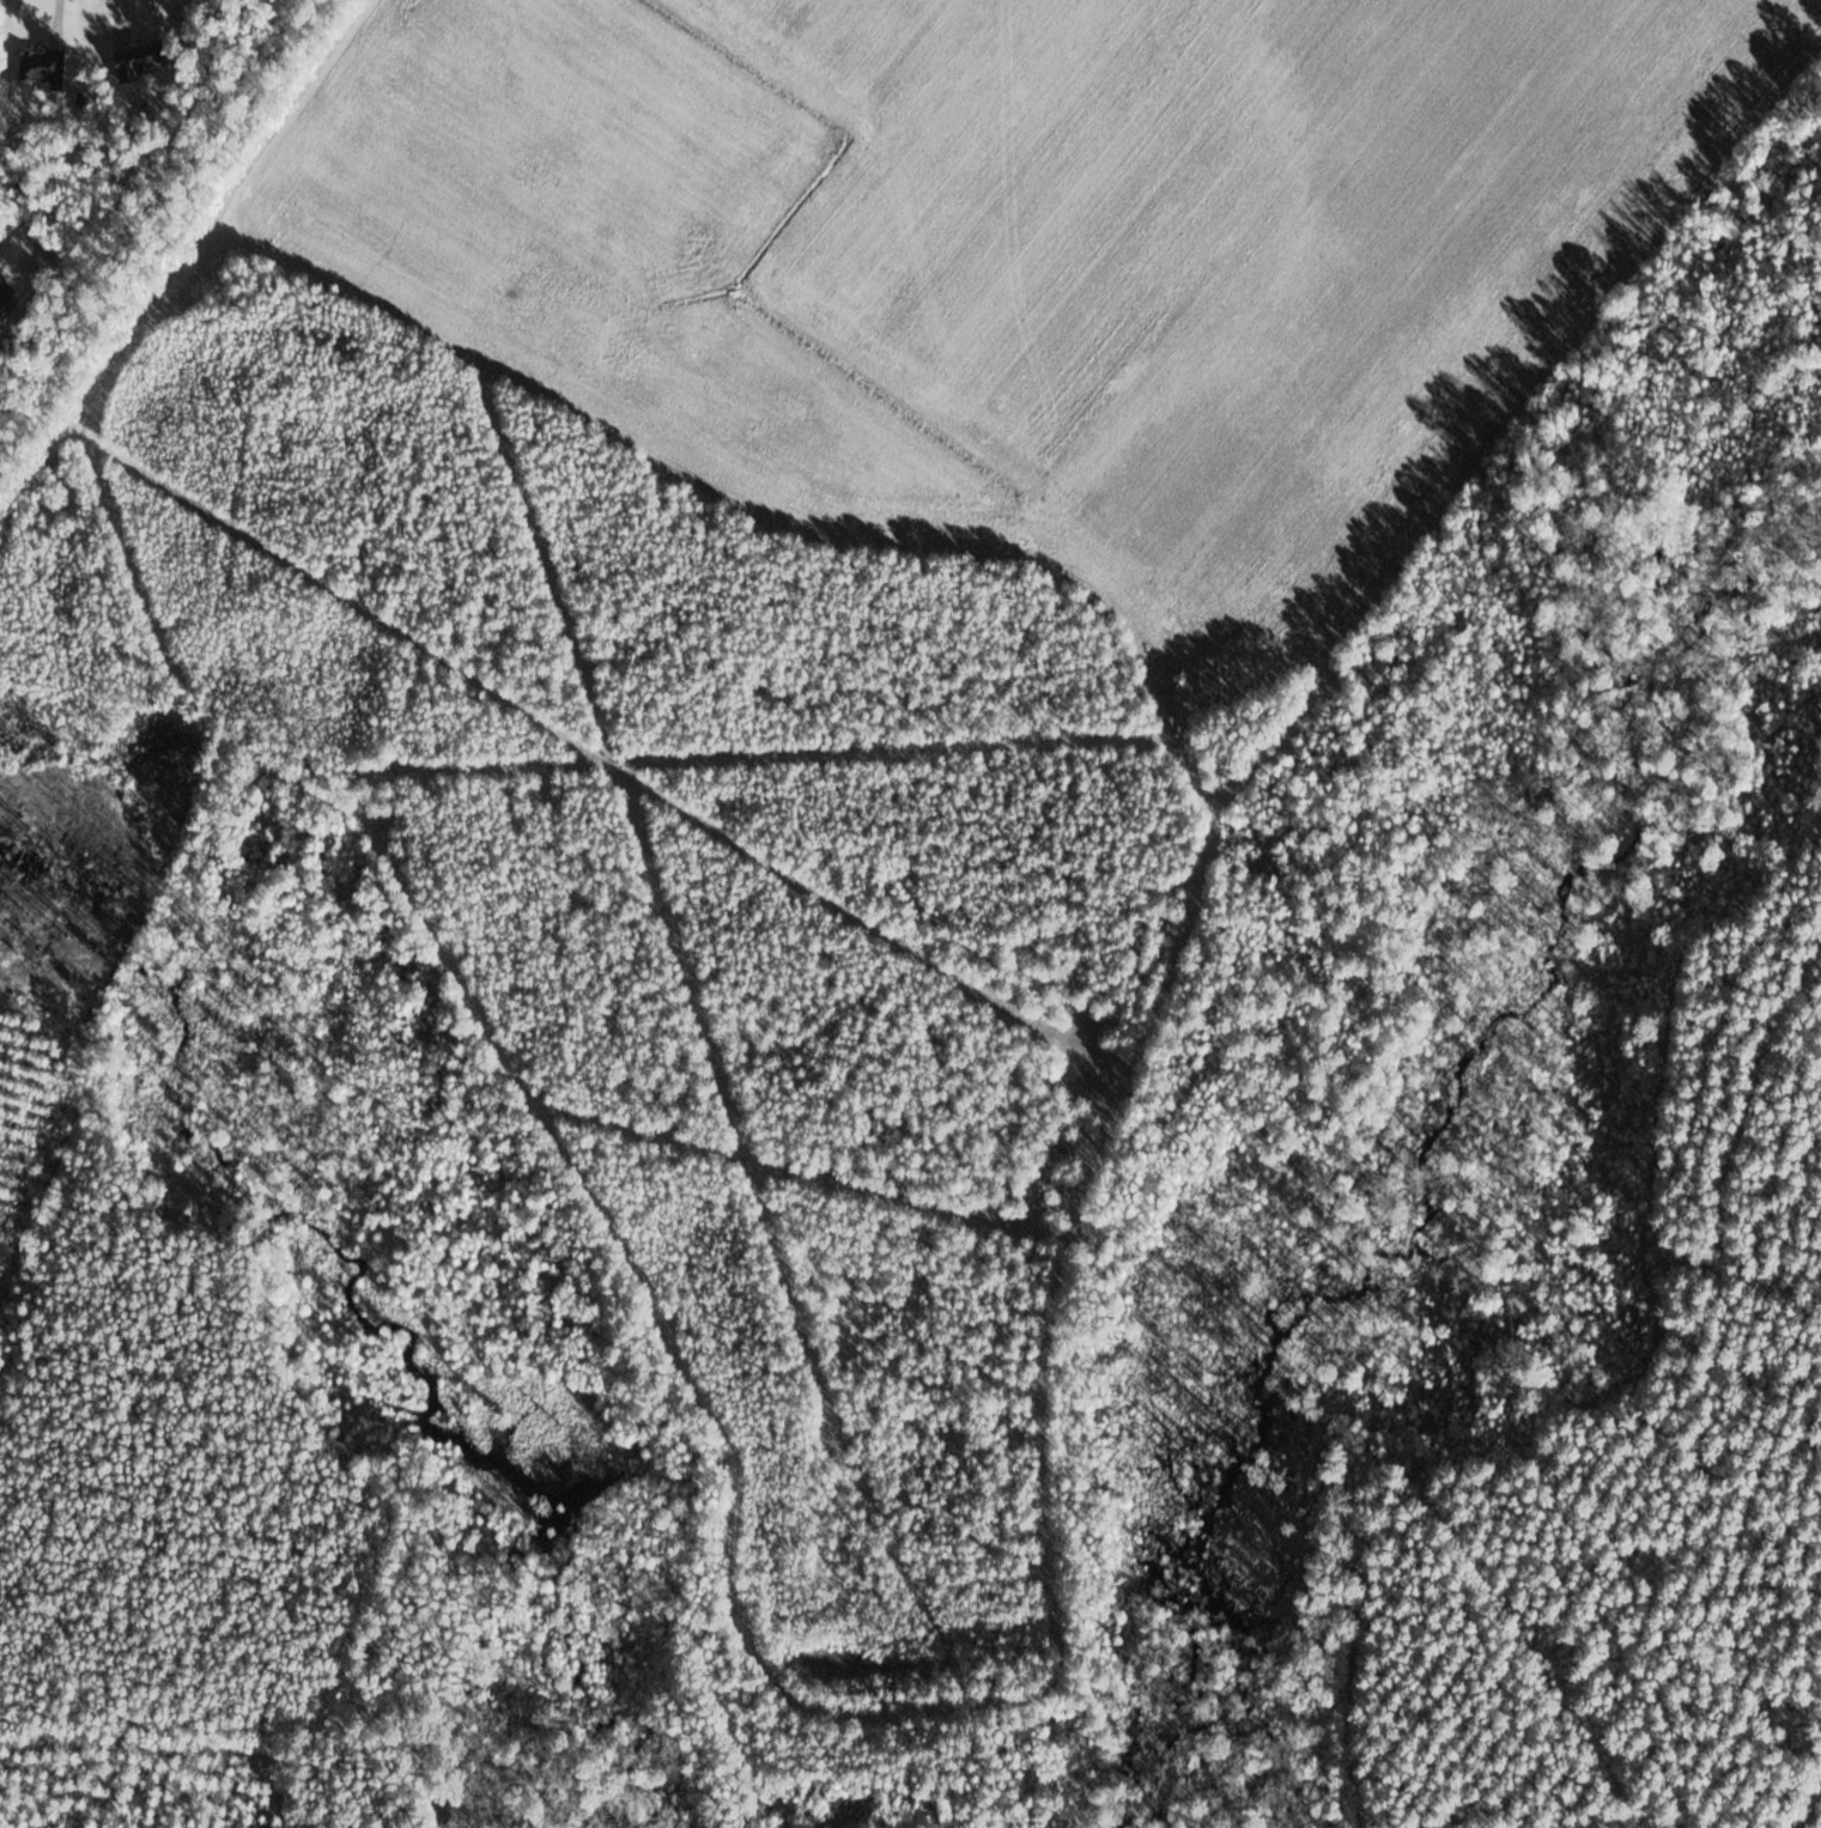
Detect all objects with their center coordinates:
building: (7, 296)

